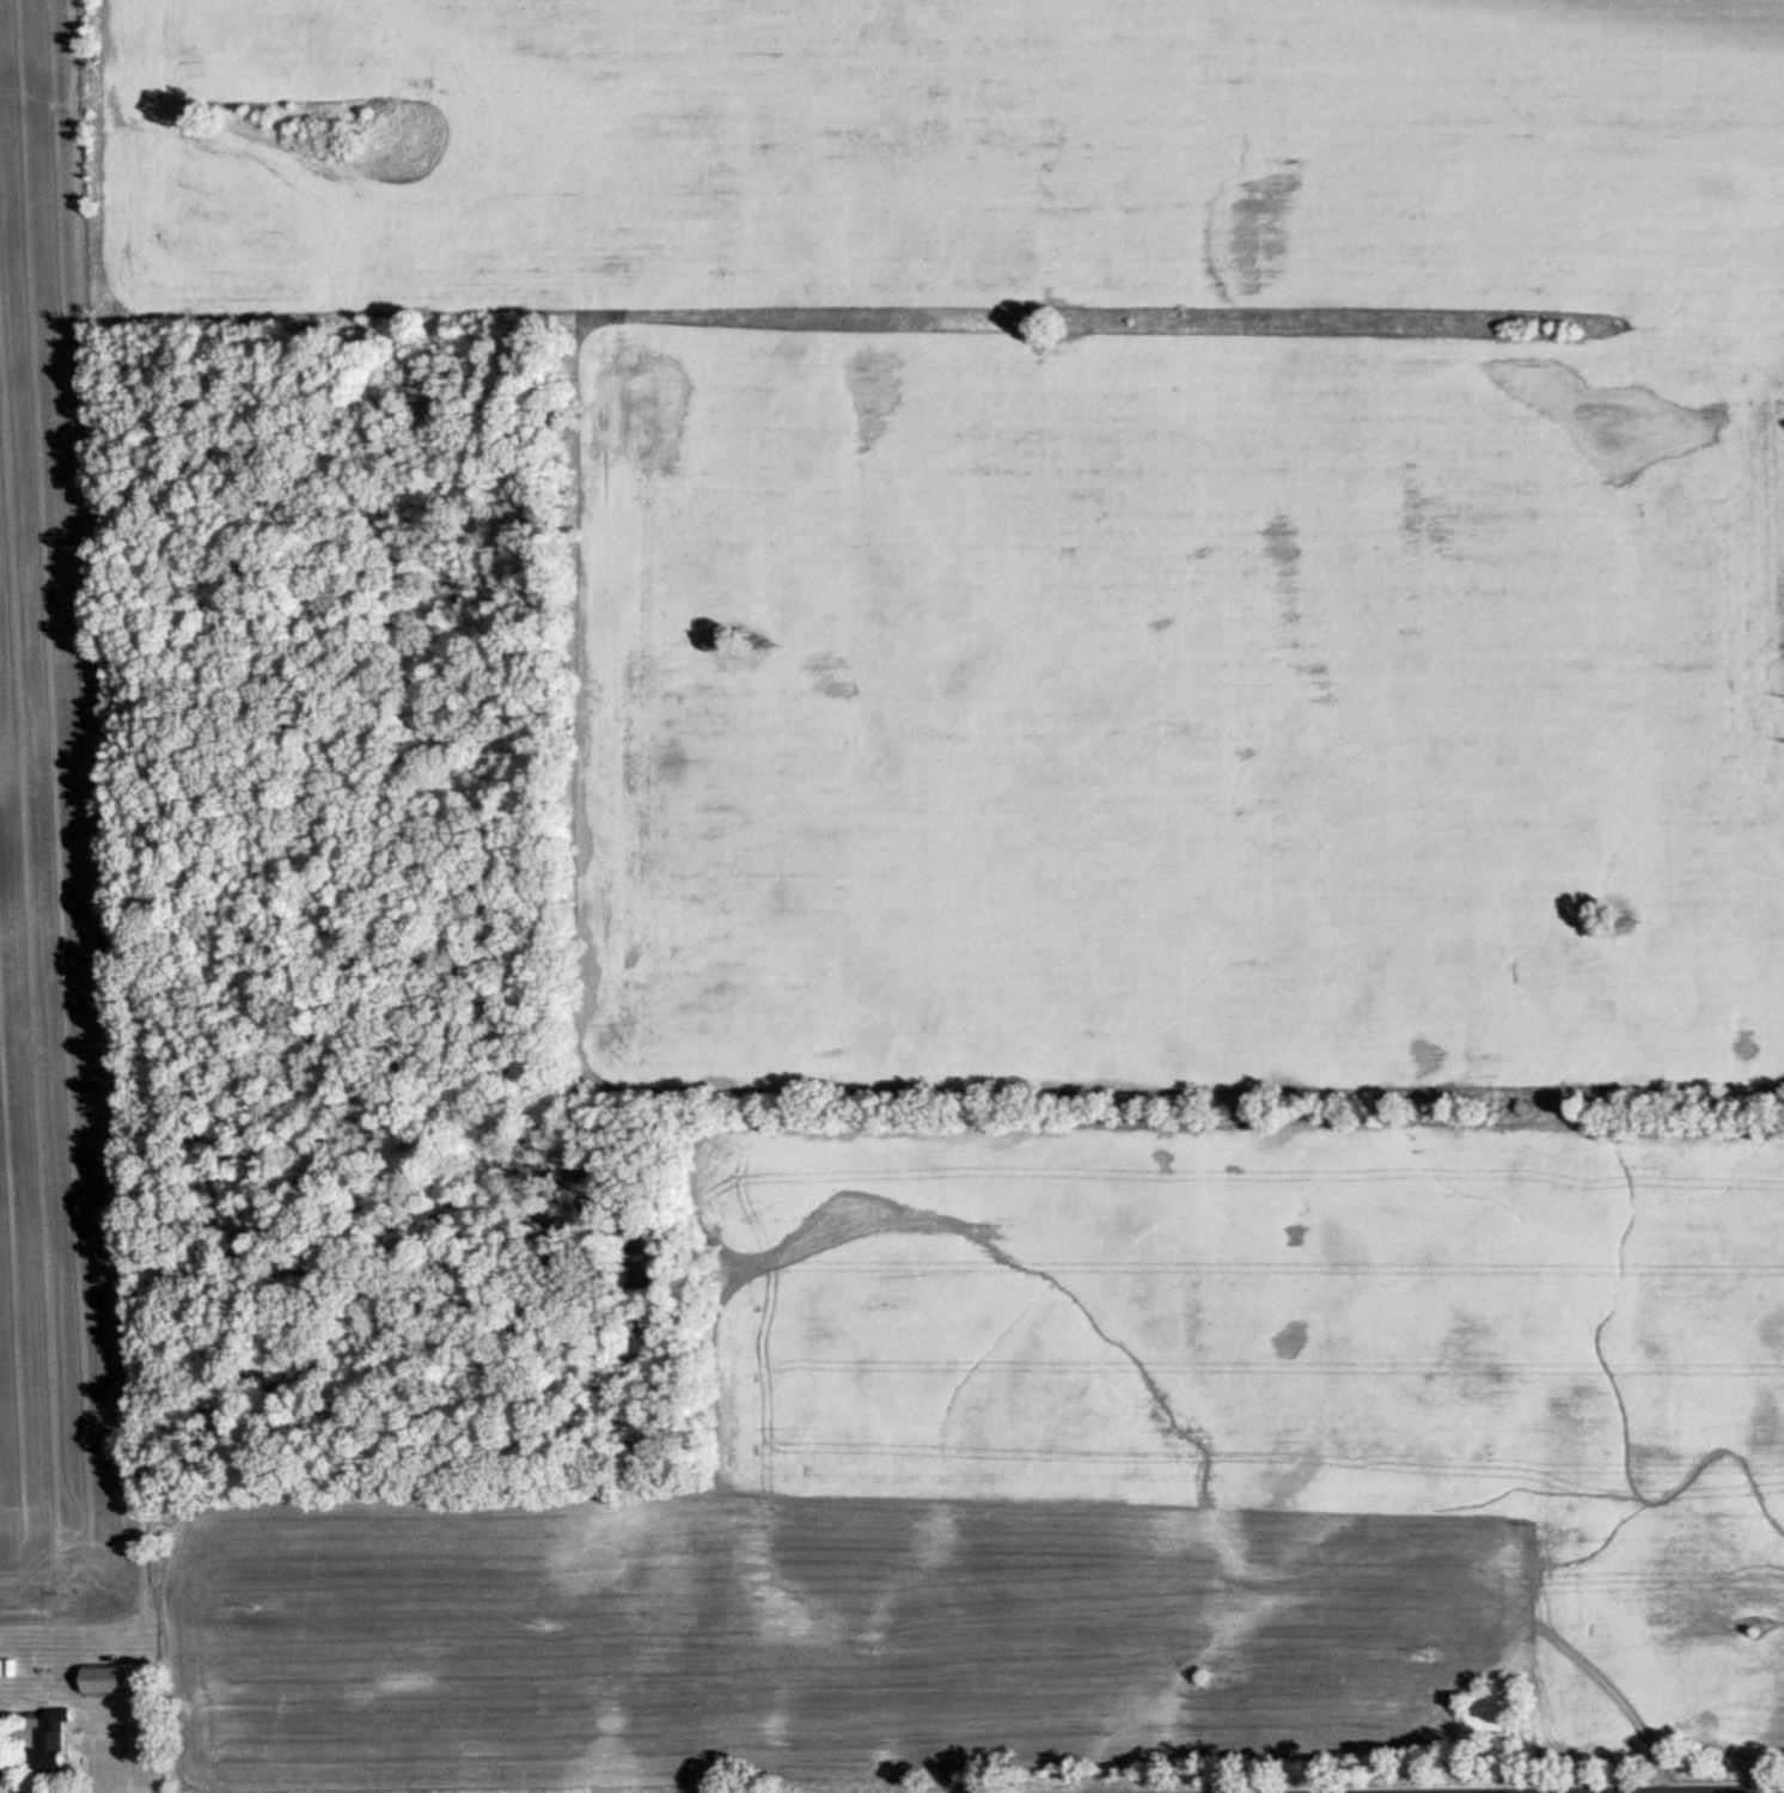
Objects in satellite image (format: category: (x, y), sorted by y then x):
building: (5, 1669)
building: (100, 1682)
building: (48, 1739)

